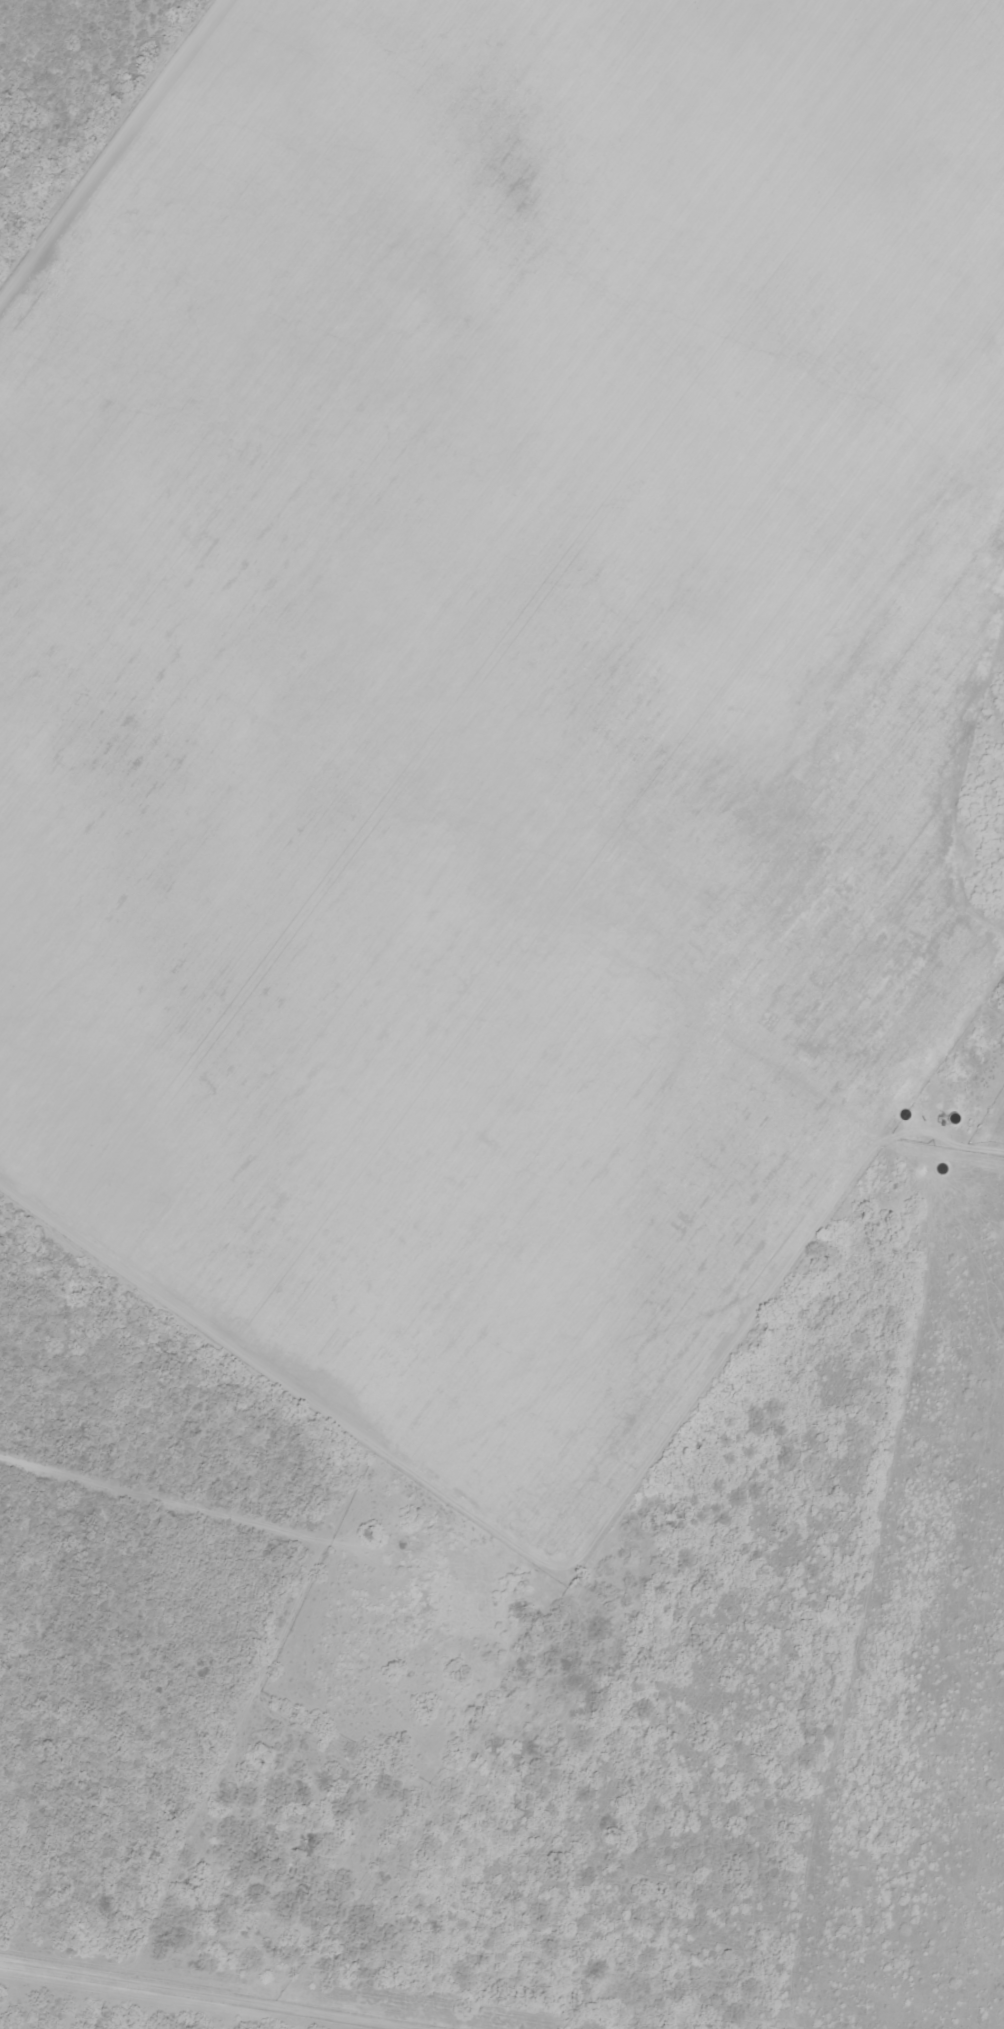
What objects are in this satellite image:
road: (95, 133)
road: (958, 1129)
road: (254, 1381)

